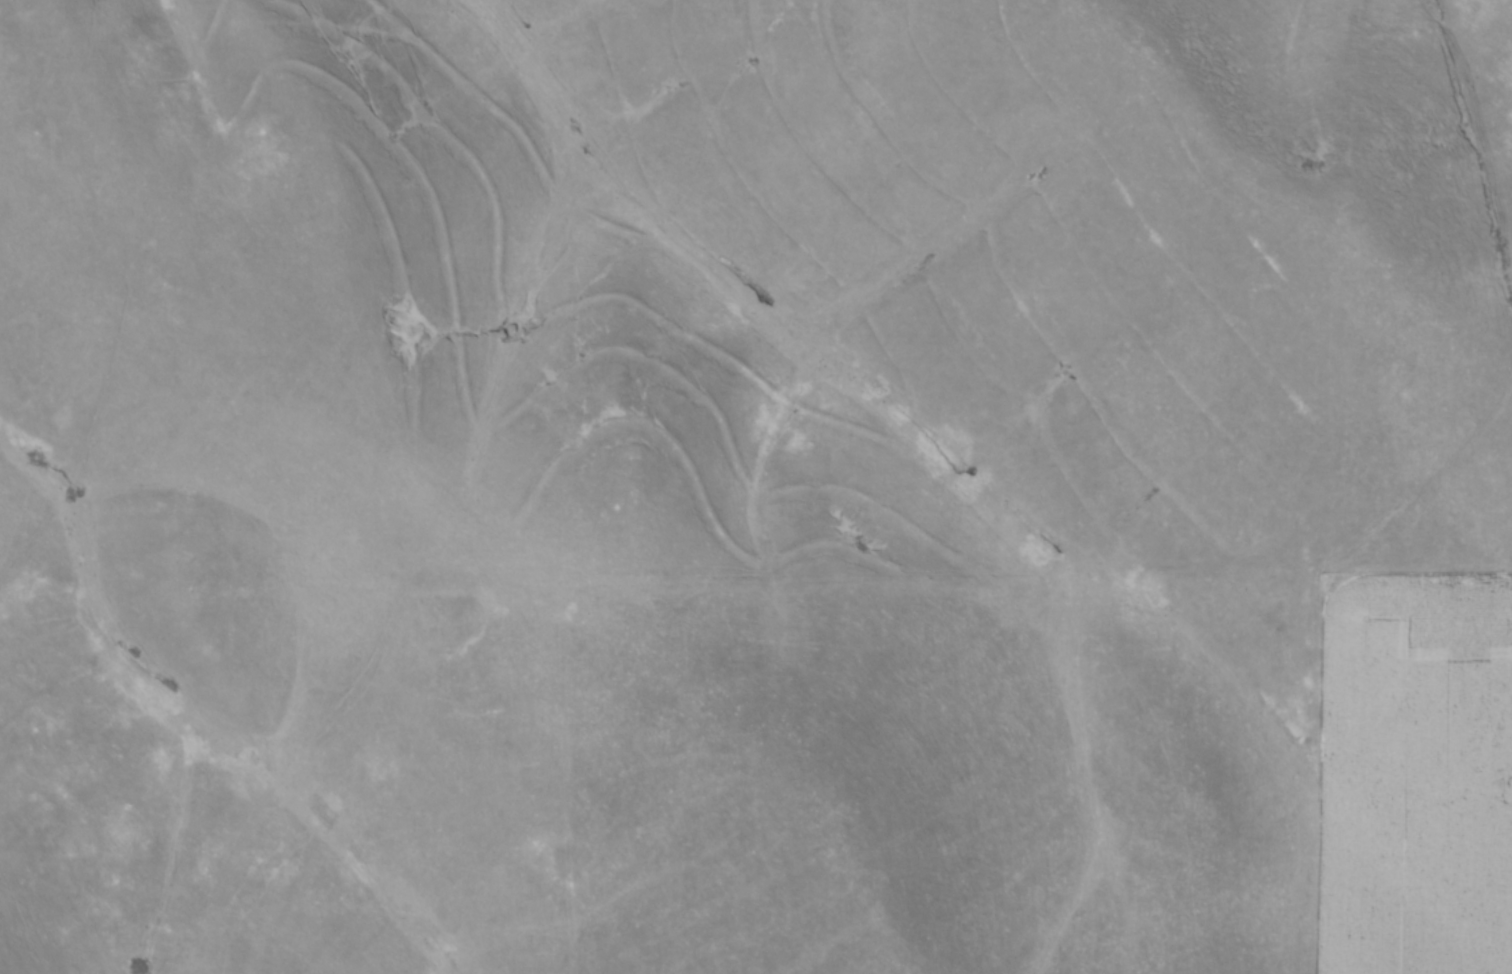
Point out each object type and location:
crop: (1415, 776)

